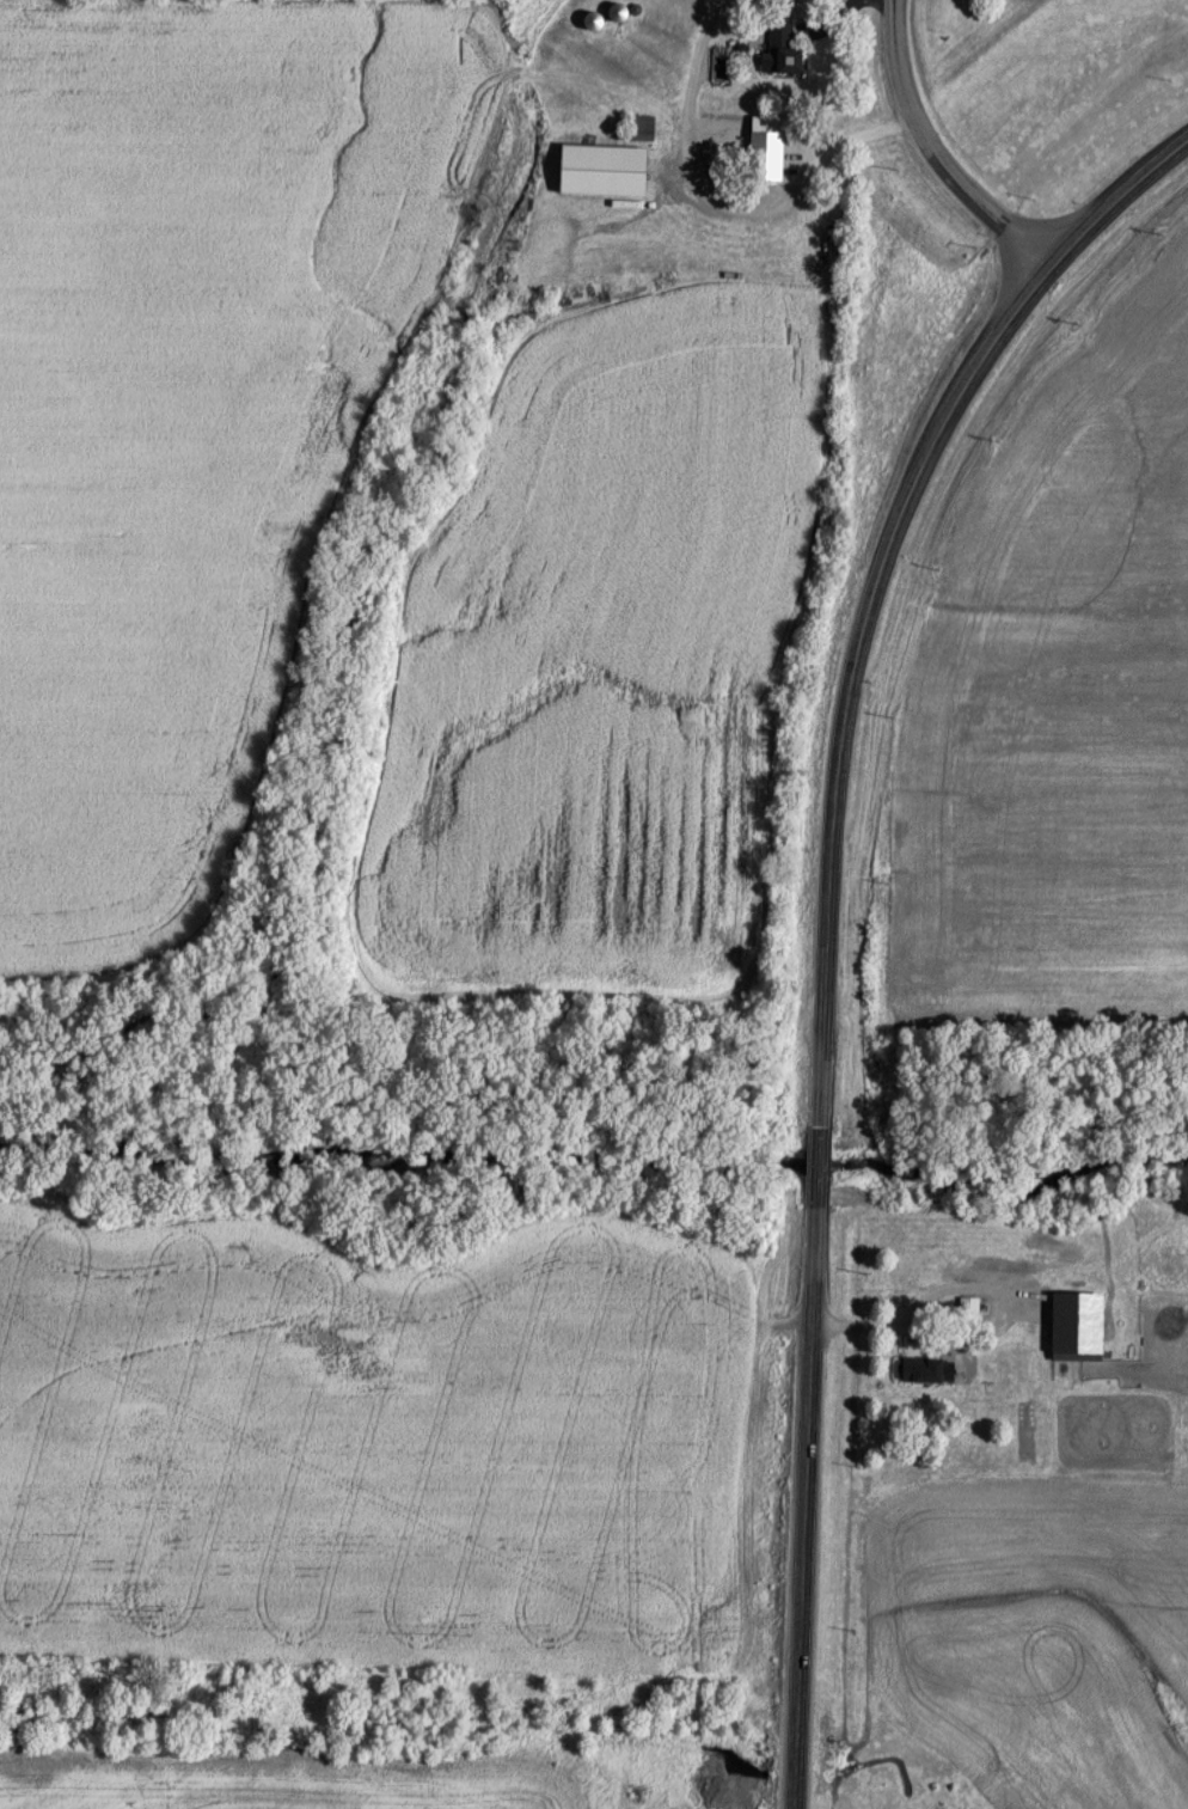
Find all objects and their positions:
building: (624, 13)
building: (784, 50)
building: (770, 147)
road: (936, 153)
building: (607, 170)
road: (714, 201)
road: (831, 917)
building: (970, 1306)
road: (892, 1332)
building: (926, 1370)

